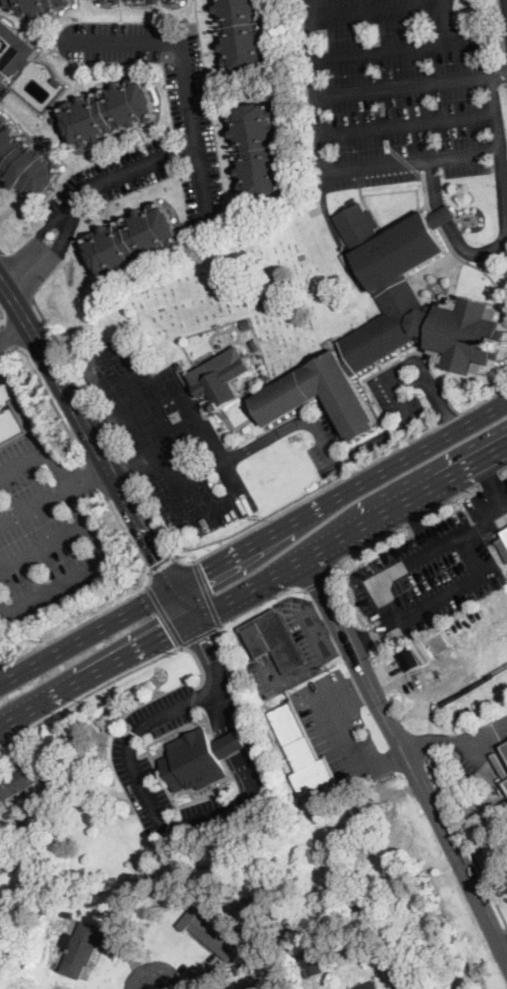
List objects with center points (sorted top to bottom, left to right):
building: (4, 0)
building: (108, 1)
building: (121, 1)
building: (176, 1)
building: (161, 2)
building: (37, 6)
road: (378, 12)
road: (499, 29)
building: (244, 34)
road: (380, 51)
building: (15, 52)
road: (488, 55)
road: (506, 63)
road: (314, 66)
road: (499, 74)
building: (56, 82)
road: (404, 85)
parking lot: (3, 91)
parking lot: (393, 93)
parking lot: (190, 97)
building: (110, 112)
road: (192, 117)
building: (56, 120)
road: (334, 131)
building: (259, 148)
building: (23, 164)
road: (203, 184)
road: (455, 235)
building: (134, 240)
road: (1, 250)
building: (302, 257)
road: (36, 258)
road: (16, 275)
park: (250, 293)
building: (263, 303)
road: (3, 313)
building: (248, 322)
building: (391, 323)
road: (14, 333)
road: (12, 336)
building: (256, 344)
road: (65, 354)
road: (424, 363)
road: (121, 369)
road: (58, 374)
building: (220, 376)
parking lot: (396, 397)
road: (51, 398)
road: (119, 399)
road: (441, 403)
building: (10, 407)
road: (106, 420)
road: (105, 426)
road: (176, 439)
parking lot: (173, 443)
parking lot: (324, 445)
road: (45, 448)
road: (118, 448)
road: (412, 452)
road: (130, 462)
road: (335, 463)
road: (130, 470)
road: (195, 475)
road: (96, 477)
road: (343, 479)
road: (92, 481)
road: (423, 496)
building: (30, 497)
road: (418, 518)
road: (159, 521)
road: (39, 529)
road: (144, 529)
building: (503, 544)
road: (247, 548)
traffic signals: (161, 559)
road: (164, 565)
parking lot: (435, 571)
traffic signals: (206, 574)
road: (80, 576)
road: (377, 582)
road: (320, 583)
road: (208, 594)
road: (117, 604)
road: (184, 604)
road: (262, 604)
road: (165, 616)
parking lot: (308, 627)
road: (196, 629)
road: (373, 631)
road: (170, 632)
road: (88, 634)
traffic signals: (167, 634)
road: (203, 636)
traffic signals: (202, 641)
building: (272, 641)
road: (330, 643)
road: (183, 647)
road: (359, 648)
road: (346, 652)
road: (325, 657)
building: (409, 658)
road: (216, 676)
road: (113, 679)
road: (359, 687)
road: (194, 698)
parking lot: (341, 723)
road: (1, 725)
road: (340, 728)
road: (487, 735)
road: (434, 741)
road: (240, 748)
building: (505, 748)
building: (302, 749)
parking lot: (130, 759)
building: (200, 759)
road: (384, 763)
road: (159, 769)
building: (17, 782)
building: (506, 784)
road: (141, 787)
road: (19, 829)
road: (466, 840)
road: (456, 859)
building: (294, 911)
building: (209, 933)
road: (503, 949)
building: (81, 950)
building: (334, 962)
building: (310, 965)
building: (251, 982)
building: (369, 986)

